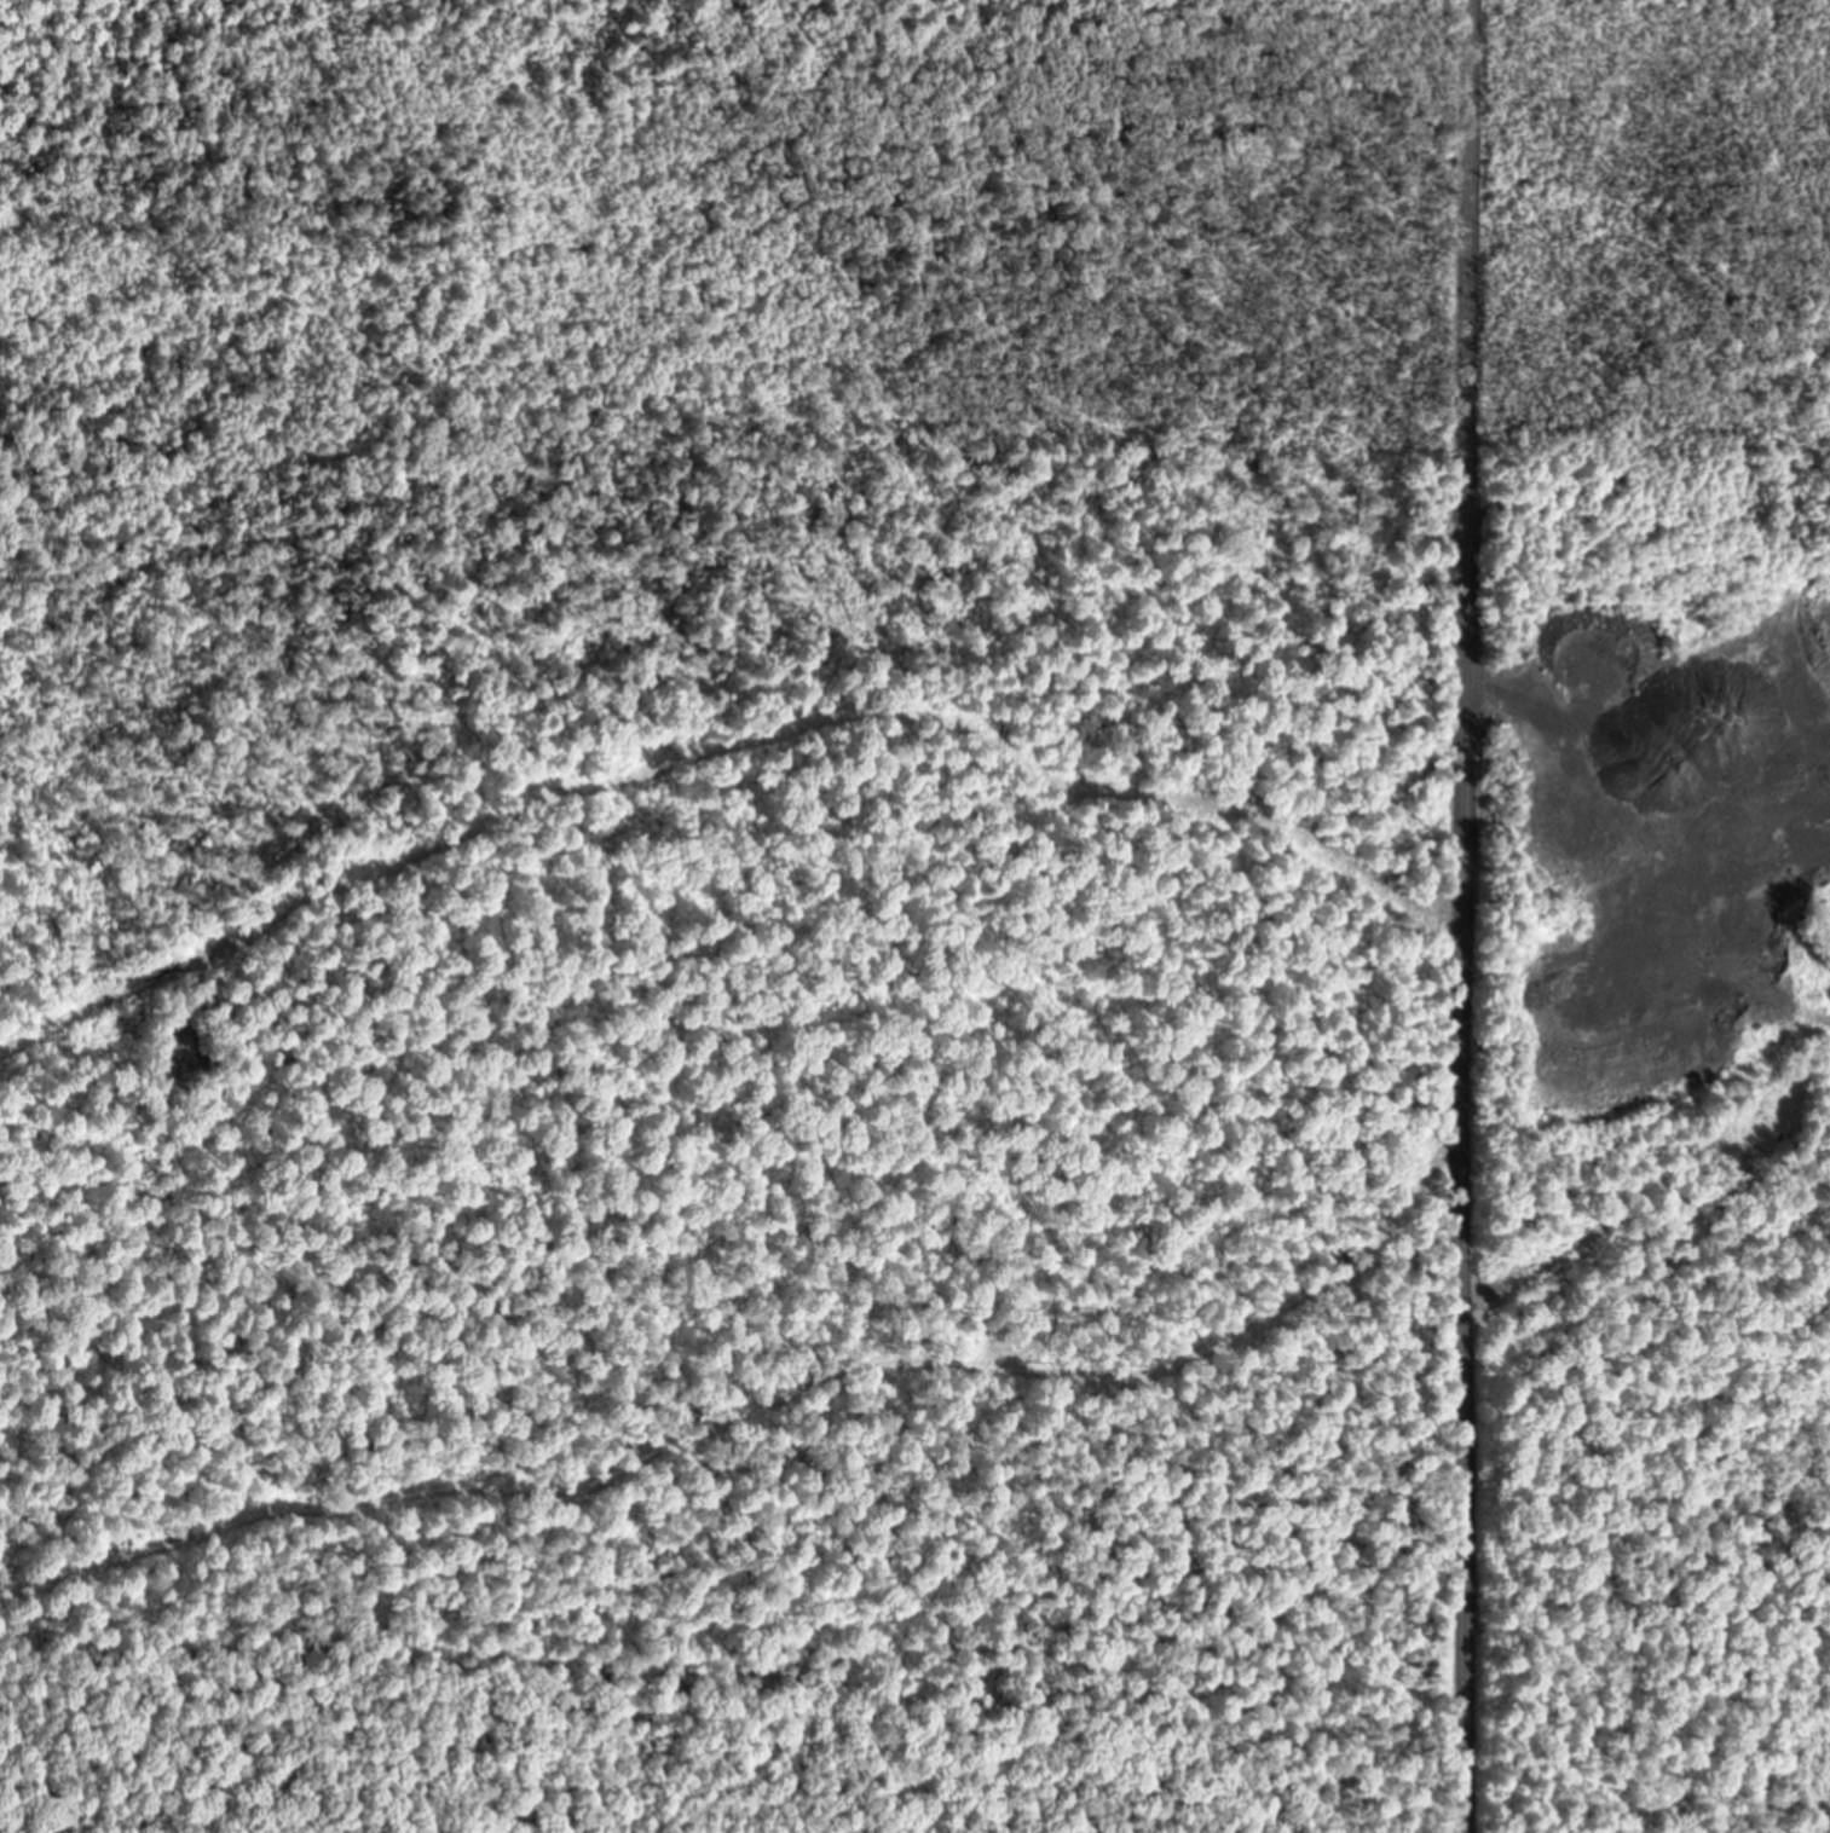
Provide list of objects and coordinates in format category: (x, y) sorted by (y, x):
road: (1471, 915)

